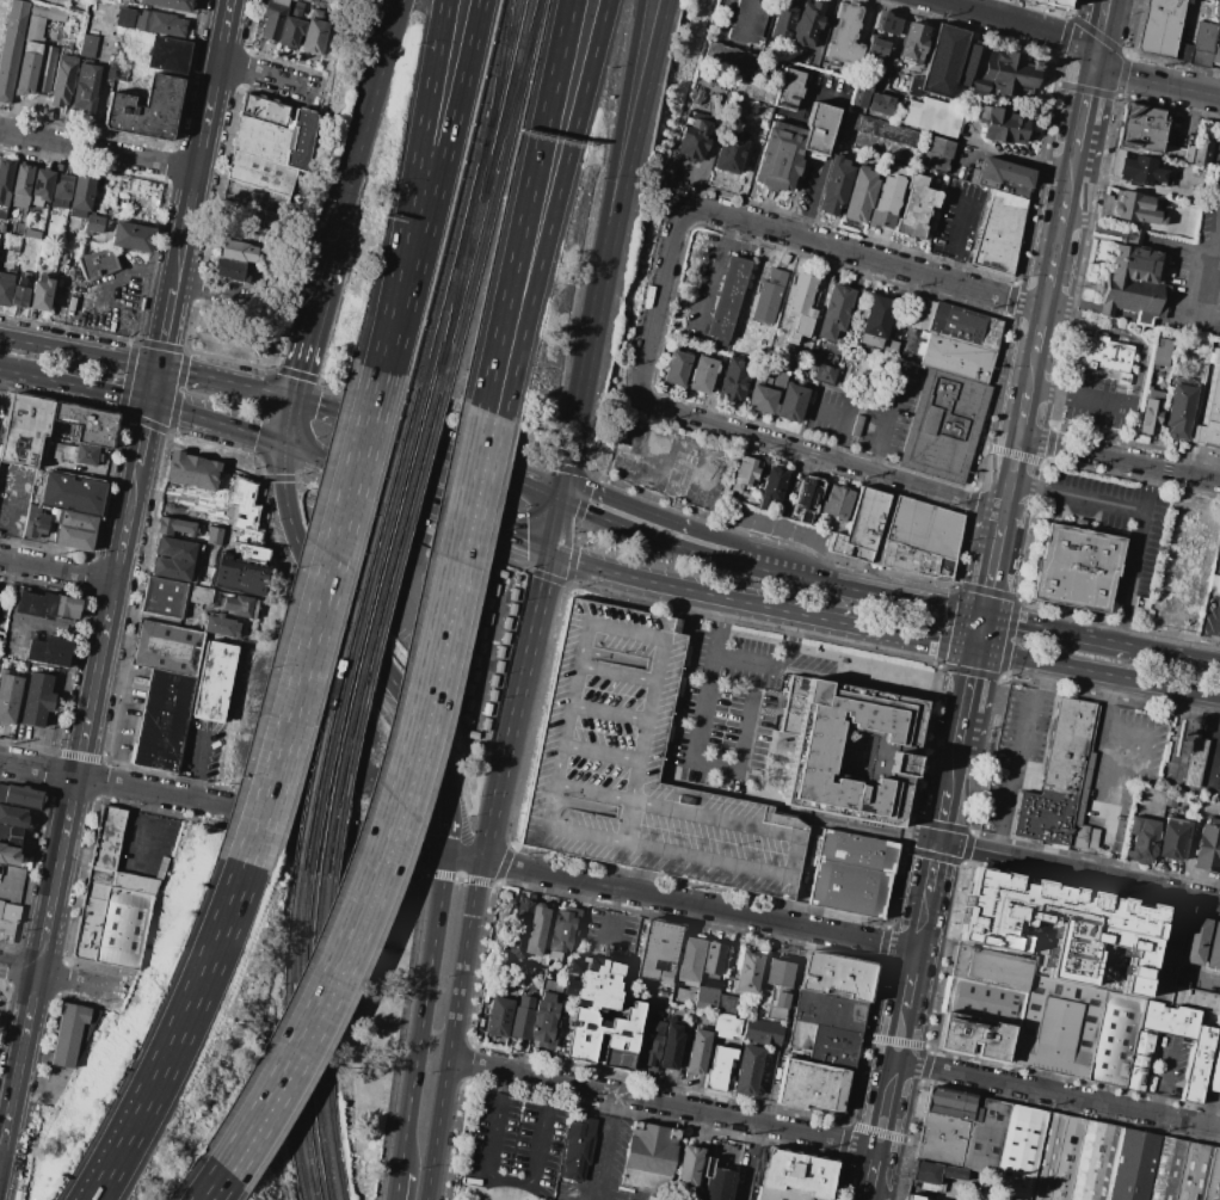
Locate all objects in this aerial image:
building: (306, 0)
building: (1188, 0)
park: (69, 4)
building: (168, 4)
building: (298, 4)
building: (1047, 4)
building: (48, 13)
road: (721, 14)
building: (124, 17)
building: (782, 18)
building: (273, 19)
building: (750, 21)
building: (887, 21)
road: (1022, 21)
building: (160, 23)
building: (807, 24)
building: (292, 27)
road: (1101, 27)
building: (1159, 27)
building: (35, 29)
building: (315, 33)
building: (842, 35)
building: (914, 42)
building: (87, 45)
building: (1200, 45)
building: (12, 47)
road: (376, 54)
road: (384, 54)
building: (874, 54)
road: (1126, 54)
building: (167, 55)
traffic signals: (1095, 56)
building: (731, 59)
building: (942, 60)
railway: (499, 62)
building: (27, 68)
building: (115, 69)
building: (44, 70)
building: (998, 72)
road: (266, 76)
building: (62, 78)
road: (1154, 81)
building: (709, 84)
building: (913, 86)
building: (85, 88)
building: (728, 88)
building: (789, 90)
building: (861, 92)
railway: (511, 96)
road: (1085, 101)
building: (879, 103)
building: (146, 109)
building: (264, 109)
building: (932, 117)
road: (833, 125)
building: (1003, 125)
building: (882, 129)
building: (819, 130)
building: (1140, 131)
building: (692, 135)
building: (300, 139)
building: (260, 140)
road: (966, 143)
road: (97, 149)
building: (729, 153)
building: (780, 154)
building: (938, 155)
building: (1178, 155)
building: (1202, 155)
road: (1019, 156)
road: (612, 158)
road: (630, 158)
road: (413, 170)
building: (1140, 170)
road: (442, 171)
building: (260, 172)
building: (101, 179)
building: (1002, 179)
road: (350, 184)
building: (834, 185)
building: (5, 186)
building: (21, 186)
building: (41, 186)
building: (62, 187)
railway: (461, 192)
building: (81, 193)
railway: (472, 195)
building: (859, 195)
building: (254, 196)
railway: (482, 197)
railway: (493, 198)
building: (886, 199)
building: (125, 202)
building: (97, 203)
road: (524, 204)
building: (916, 207)
road: (553, 208)
building: (1138, 210)
parking lot: (959, 221)
building: (93, 224)
building: (999, 234)
road: (1060, 234)
road: (1138, 234)
road: (951, 235)
building: (133, 236)
building: (238, 251)
railway: (462, 253)
road: (868, 258)
road: (709, 259)
building: (95, 263)
building: (229, 270)
road: (1207, 271)
parking lot: (1200, 278)
building: (1135, 283)
parking lot: (704, 285)
building: (5, 288)
road: (84, 288)
road: (210, 290)
building: (20, 293)
building: (41, 293)
road: (1010, 297)
building: (768, 299)
building: (727, 300)
building: (797, 306)
building: (834, 310)
building: (875, 321)
building: (959, 325)
road: (310, 327)
road: (1125, 338)
road: (1041, 339)
building: (891, 347)
building: (1197, 347)
road: (76, 352)
building: (1165, 355)
building: (1104, 356)
building: (957, 357)
road: (395, 358)
building: (783, 364)
traffic signals: (155, 367)
building: (676, 369)
road: (192, 373)
building: (701, 374)
building: (824, 374)
road: (1034, 374)
road: (25, 375)
building: (733, 381)
road: (260, 388)
road: (99, 389)
building: (765, 390)
traffic signals: (292, 396)
road: (1079, 400)
traffic signals: (148, 402)
building: (791, 402)
parking lot: (1096, 402)
road: (577, 405)
road: (327, 407)
building: (1208, 408)
parking lot: (888, 410)
building: (1150, 412)
road: (1027, 413)
building: (1177, 413)
parking lot: (831, 417)
road: (843, 417)
road: (286, 419)
road: (886, 419)
building: (87, 424)
building: (856, 425)
building: (944, 426)
road: (733, 429)
building: (25, 430)
building: (60, 436)
building: (630, 436)
traffic signals: (282, 443)
building: (78, 454)
road: (313, 455)
road: (463, 455)
road: (1033, 457)
road: (1121, 457)
building: (47, 467)
building: (192, 470)
building: (745, 474)
road: (1015, 481)
building: (774, 490)
building: (69, 493)
road: (462, 494)
traffic signals: (563, 494)
road: (1080, 496)
building: (172, 499)
road: (475, 499)
building: (807, 500)
building: (836, 500)
road: (972, 501)
road: (8, 510)
building: (54, 515)
road: (626, 517)
building: (35, 522)
building: (174, 527)
building: (861, 527)
parking lot: (1116, 527)
road: (775, 529)
building: (75, 530)
building: (214, 535)
road: (512, 537)
building: (917, 540)
building: (241, 544)
traffic signals: (552, 553)
road: (1136, 553)
building: (173, 559)
road: (760, 561)
road: (56, 570)
road: (996, 570)
building: (1076, 570)
road: (113, 576)
road: (665, 585)
building: (1214, 585)
building: (199, 593)
road: (910, 597)
building: (164, 598)
building: (47, 605)
building: (241, 605)
traffic signals: (986, 614)
road: (341, 616)
parking lot: (1210, 617)
road: (325, 621)
road: (42, 622)
building: (221, 626)
railway: (347, 627)
railway: (358, 628)
road: (1052, 628)
railway: (368, 630)
road: (880, 632)
road: (982, 633)
railway: (380, 634)
road: (1214, 634)
building: (166, 648)
building: (49, 651)
traffic signals: (979, 652)
road: (1169, 652)
parking lot: (738, 656)
road: (770, 659)
road: (808, 666)
building: (2, 671)
road: (1098, 672)
road: (523, 677)
road: (1000, 677)
building: (214, 681)
road: (971, 689)
building: (10, 696)
building: (37, 699)
road: (725, 706)
building: (162, 721)
road: (721, 725)
parking lot: (722, 734)
road: (23, 737)
road: (689, 749)
building: (811, 751)
road: (957, 752)
parking lot: (1015, 755)
road: (1021, 758)
road: (1115, 758)
road: (201, 761)
building: (1195, 763)
road: (1214, 764)
building: (640, 765)
parking lot: (640, 765)
parking lot: (1116, 773)
building: (1056, 782)
building: (20, 796)
road: (223, 806)
road: (947, 810)
road: (451, 812)
building: (12, 816)
road: (144, 829)
building: (11, 836)
building: (1173, 837)
building: (1140, 841)
traffic signals: (941, 842)
building: (1208, 845)
road: (966, 848)
building: (8, 855)
road: (464, 857)
road: (1080, 870)
road: (934, 873)
building: (852, 874)
road: (362, 884)
road: (8, 886)
building: (115, 900)
road: (701, 905)
road: (474, 907)
building: (11, 911)
road: (608, 919)
building: (518, 925)
building: (536, 929)
road: (924, 929)
building: (6, 930)
building: (1062, 930)
building: (561, 935)
parking lot: (610, 935)
building: (1194, 941)
road: (882, 943)
building: (1214, 949)
building: (658, 950)
building: (713, 958)
building: (690, 960)
building: (1162, 964)
building: (991, 966)
building: (747, 973)
road: (60, 977)
building: (836, 977)
road: (1199, 977)
road: (17, 981)
road: (913, 983)
building: (552, 985)
building: (778, 986)
building: (707, 990)
building: (1195, 999)
park: (0, 1001)
building: (984, 1002)
building: (726, 1005)
building: (828, 1010)
building: (1219, 1011)
road: (421, 1014)
building: (585, 1015)
building: (499, 1016)
building: (546, 1016)
building: (522, 1019)
building: (723, 1027)
building: (1058, 1028)
building: (70, 1033)
building: (762, 1033)
building: (800, 1034)
railway: (302, 1035)
building: (973, 1035)
road: (185, 1036)
railway: (289, 1036)
railway: (315, 1036)
road: (901, 1038)
railway: (327, 1039)
building: (1114, 1039)
building: (651, 1042)
road: (907, 1042)
building: (670, 1046)
building: (833, 1047)
building: (696, 1052)
building: (1136, 1061)
building: (1196, 1063)
parking lot: (1170, 1064)
building: (1213, 1064)
building: (717, 1069)
building: (747, 1071)
road: (1166, 1076)
road: (448, 1077)
building: (811, 1085)
road: (1058, 1095)
road: (888, 1104)
road: (665, 1107)
building: (953, 1107)
road: (863, 1130)
building: (982, 1138)
building: (941, 1140)
parking lot: (512, 1145)
building: (578, 1147)
road: (606, 1149)
building: (1016, 1153)
road: (702, 1157)
building: (1045, 1157)
building: (647, 1158)
building: (1064, 1159)
road: (748, 1162)
building: (1092, 1162)
parking lot: (598, 1167)
building: (1132, 1167)
building: (1165, 1170)
building: (688, 1171)
parking lot: (745, 1173)
building: (1191, 1173)
road: (874, 1174)
building: (936, 1174)
building: (795, 1175)
building: (1212, 1177)
road: (507, 1179)
road: (205, 1181)
building: (716, 1184)
road: (393, 1187)
road: (579, 1195)
building: (777, 1195)
building: (652, 1199)
building: (914, 1199)
building: (1008, 1199)

